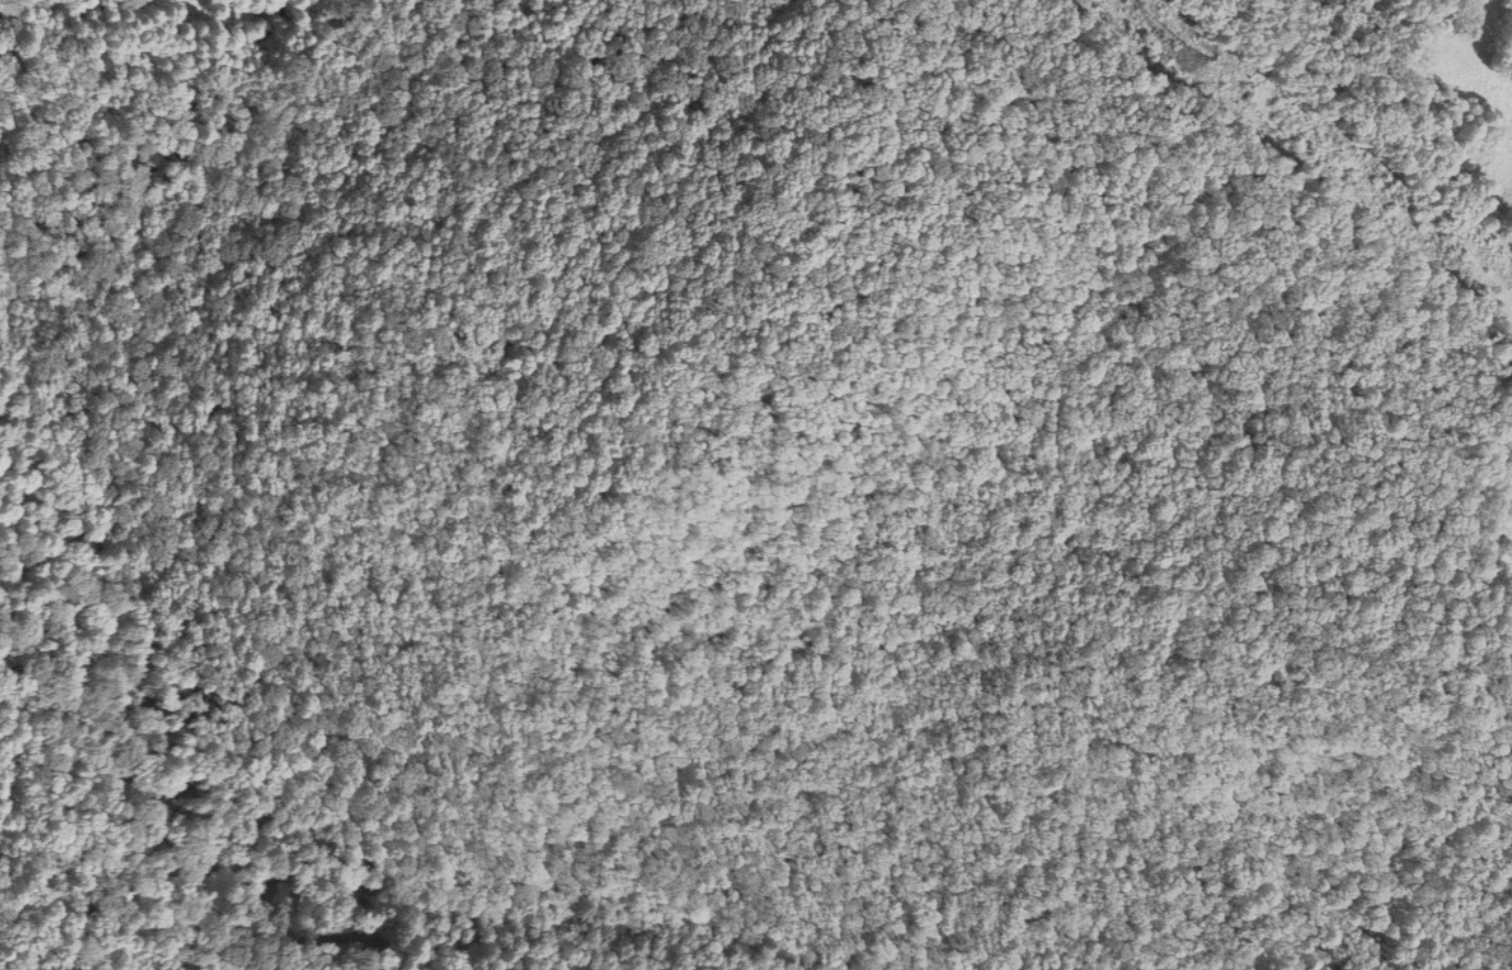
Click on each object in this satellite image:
power tower: (1193, 55)

